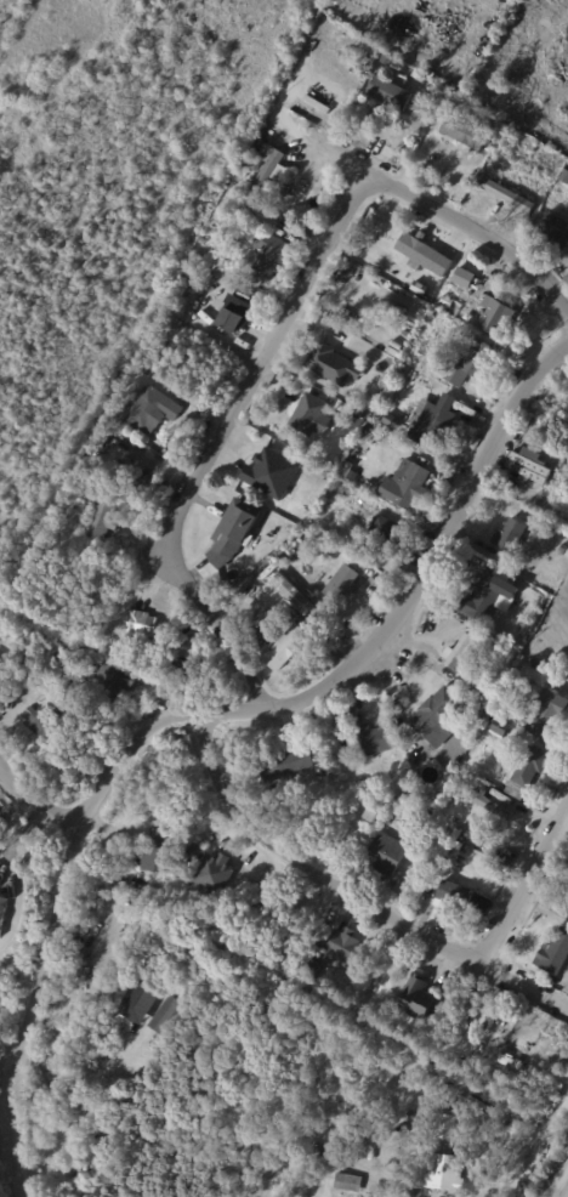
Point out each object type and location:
building: (391, 93)
building: (467, 132)
park: (87, 142)
building: (265, 157)
building: (269, 174)
building: (515, 203)
road: (426, 209)
building: (553, 229)
building: (418, 250)
building: (269, 255)
building: (200, 262)
building: (467, 279)
building: (431, 294)
building: (447, 303)
building: (235, 317)
building: (498, 317)
building: (476, 362)
building: (333, 364)
building: (153, 412)
building: (307, 413)
building: (393, 421)
building: (433, 422)
building: (371, 429)
road: (217, 449)
building: (532, 463)
building: (269, 472)
building: (526, 472)
building: (411, 483)
building: (102, 522)
building: (381, 531)
building: (234, 532)
building: (512, 537)
building: (272, 567)
building: (343, 582)
building: (296, 594)
building: (499, 594)
building: (143, 625)
building: (526, 629)
building: (285, 646)
building: (74, 649)
building: (458, 651)
building: (188, 653)
building: (522, 657)
building: (29, 664)
building: (538, 665)
building: (74, 670)
building: (115, 682)
building: (489, 699)
building: (544, 714)
building: (438, 715)
road: (200, 722)
building: (498, 725)
building: (57, 738)
building: (374, 739)
building: (286, 764)
building: (529, 771)
road: (35, 794)
building: (488, 802)
building: (164, 850)
building: (195, 853)
building: (387, 853)
building: (214, 872)
road: (528, 887)
road: (363, 894)
building: (1, 913)
building: (132, 927)
building: (346, 946)
building: (558, 955)
building: (421, 999)
building: (160, 1011)
building: (174, 1011)
building: (431, 1095)
building: (401, 1130)
road: (528, 1135)
building: (353, 1136)
building: (447, 1157)
building: (313, 1158)
building: (350, 1182)
building: (411, 1192)

